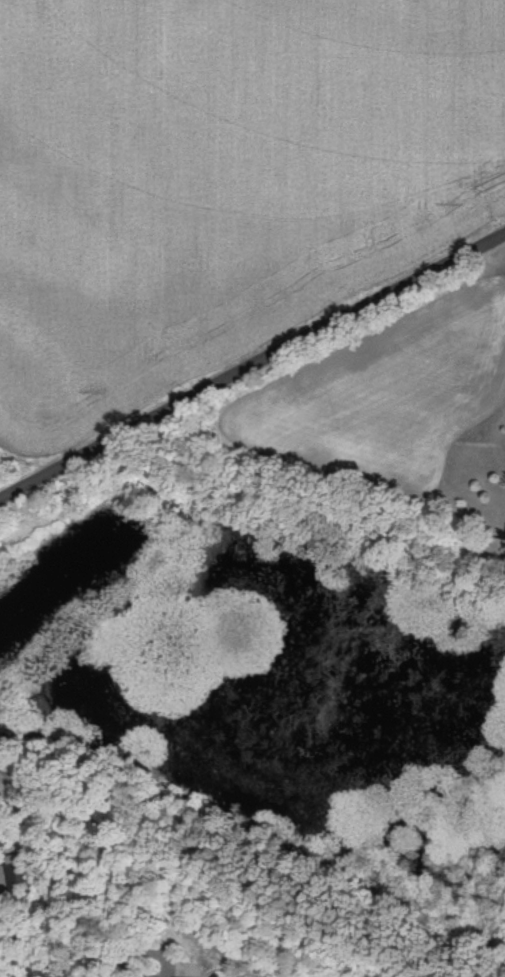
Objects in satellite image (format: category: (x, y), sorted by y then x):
road: (251, 362)
building: (3, 836)
building: (19, 874)
road: (52, 938)
road: (144, 951)
road: (117, 962)
building: (177, 976)

